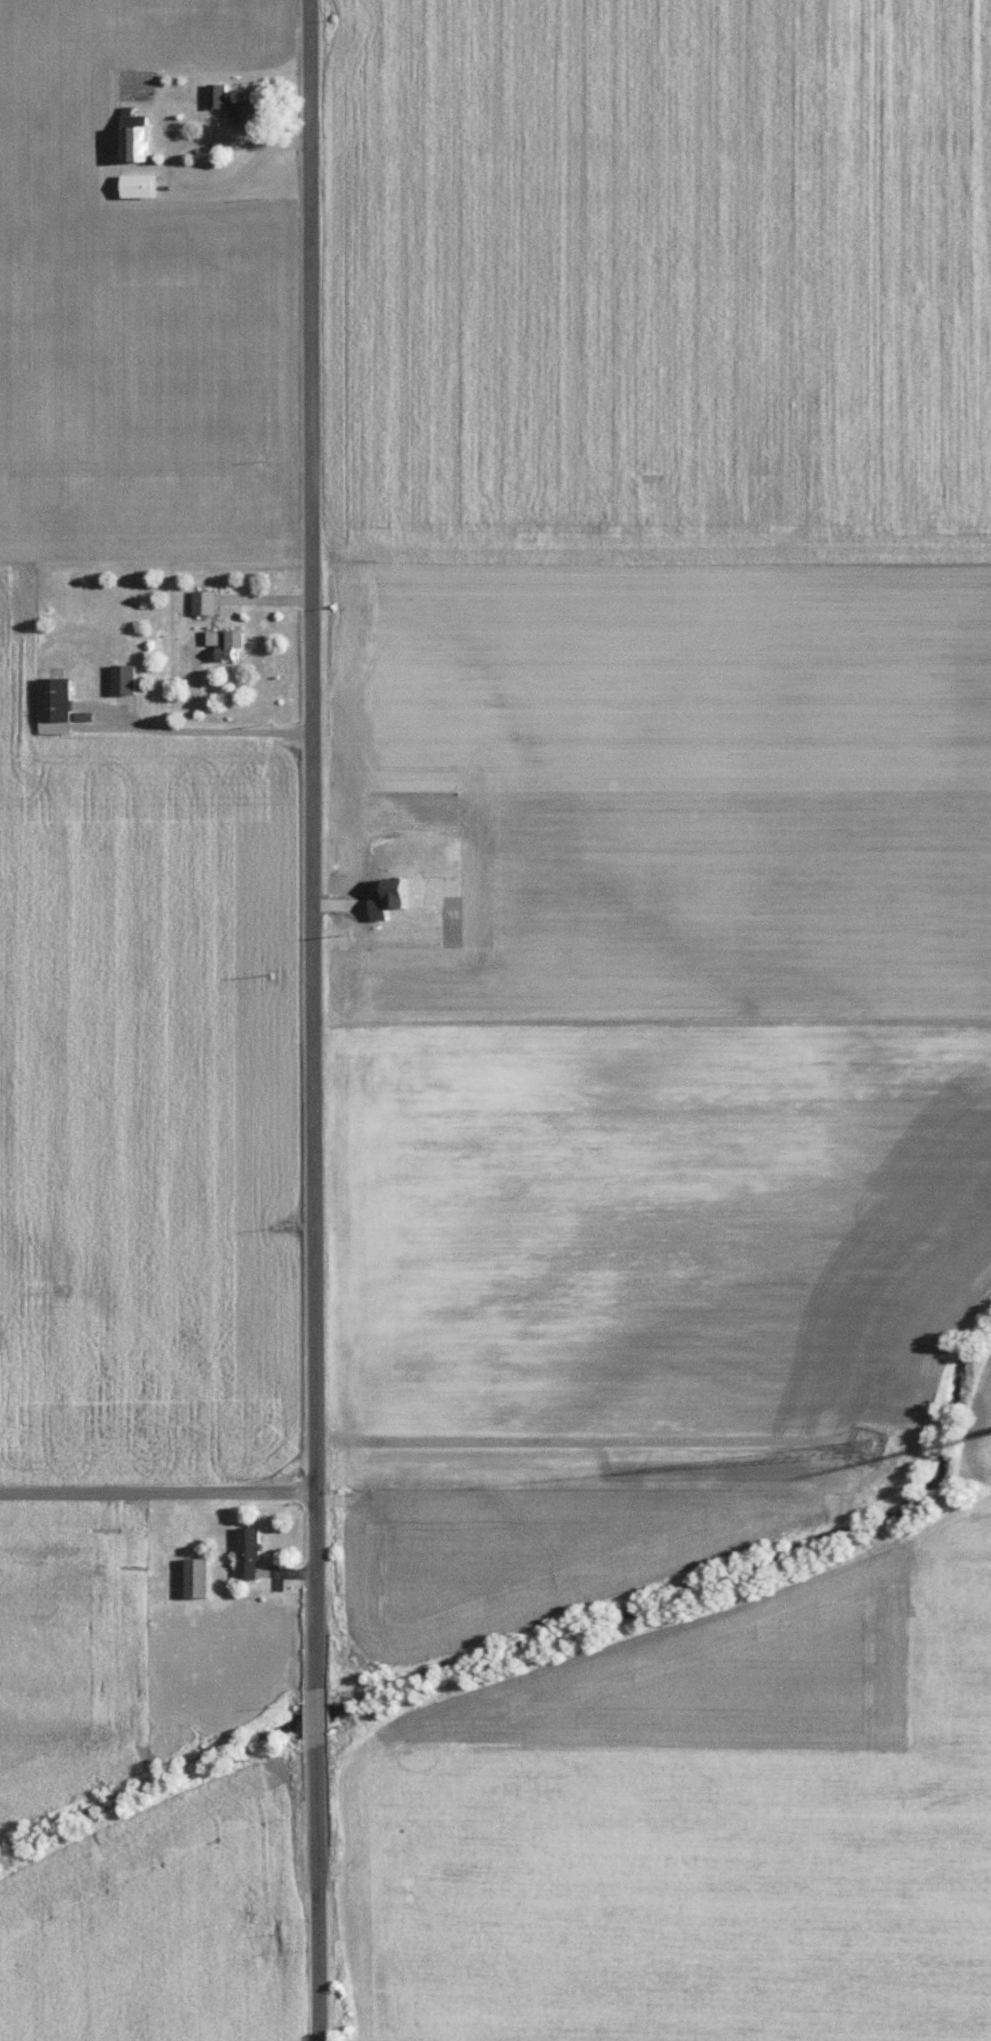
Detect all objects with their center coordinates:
building: (241, 101)
building: (141, 135)
road: (157, 139)
building: (147, 185)
building: (210, 602)
building: (232, 643)
building: (129, 678)
building: (61, 705)
road: (212, 729)
road: (315, 827)
road: (559, 1436)
road: (159, 1492)
building: (254, 1554)
building: (205, 1578)
river: (548, 1631)
road: (318, 1709)
road: (319, 1902)

